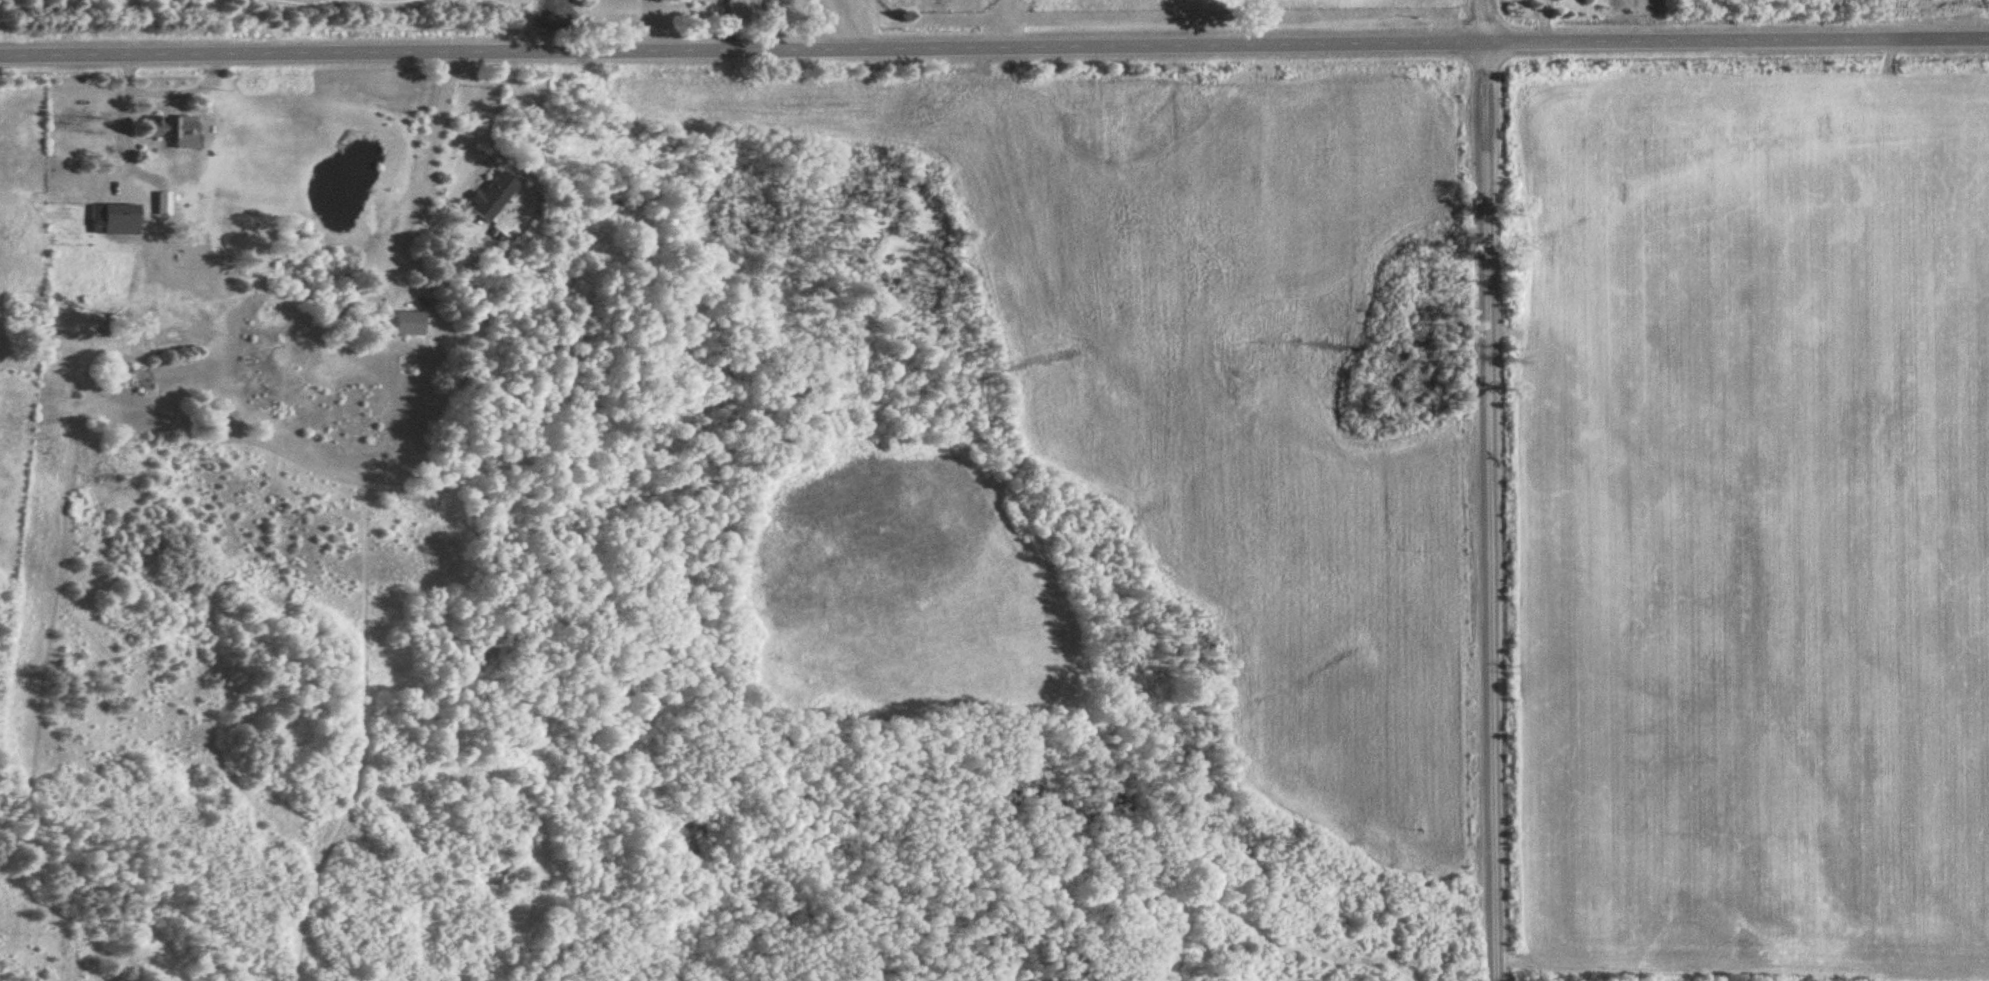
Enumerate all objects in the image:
road: (839, 23)
road: (722, 25)
road: (994, 48)
building: (176, 128)
road: (430, 139)
building: (494, 195)
building: (116, 218)
building: (411, 321)
road: (1489, 490)

